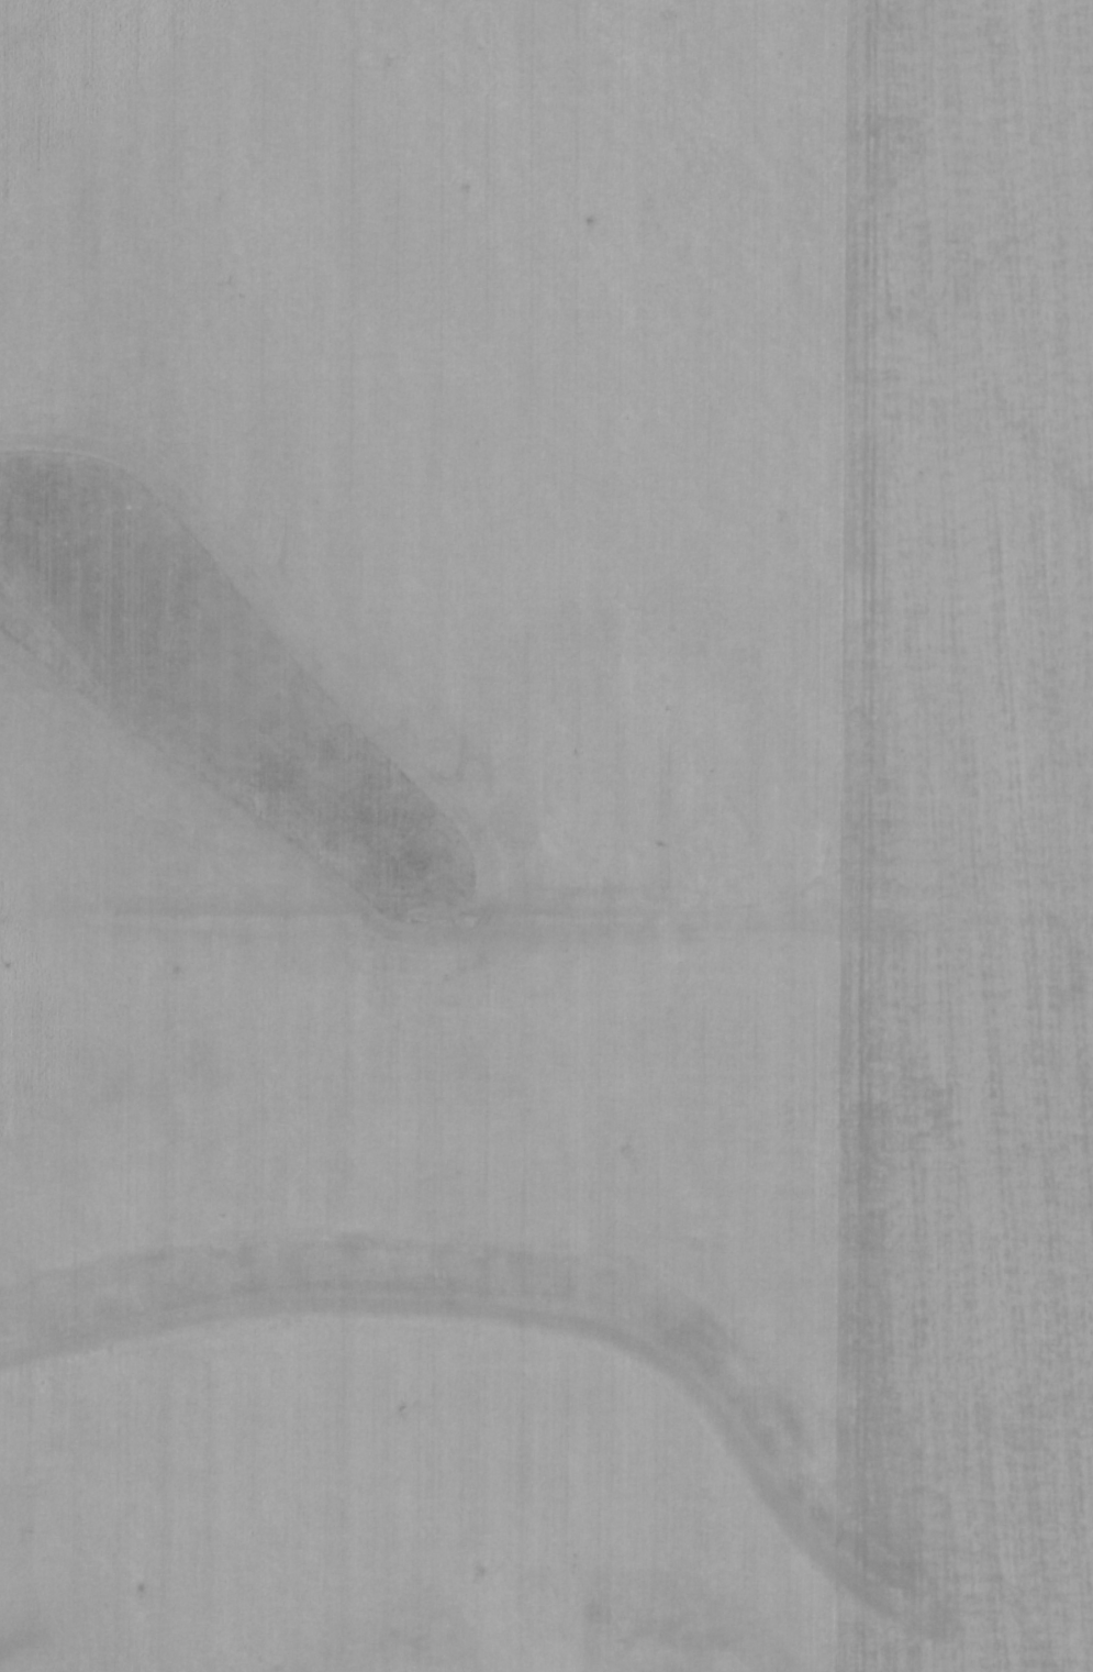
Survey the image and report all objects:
crop: (546, 835)

